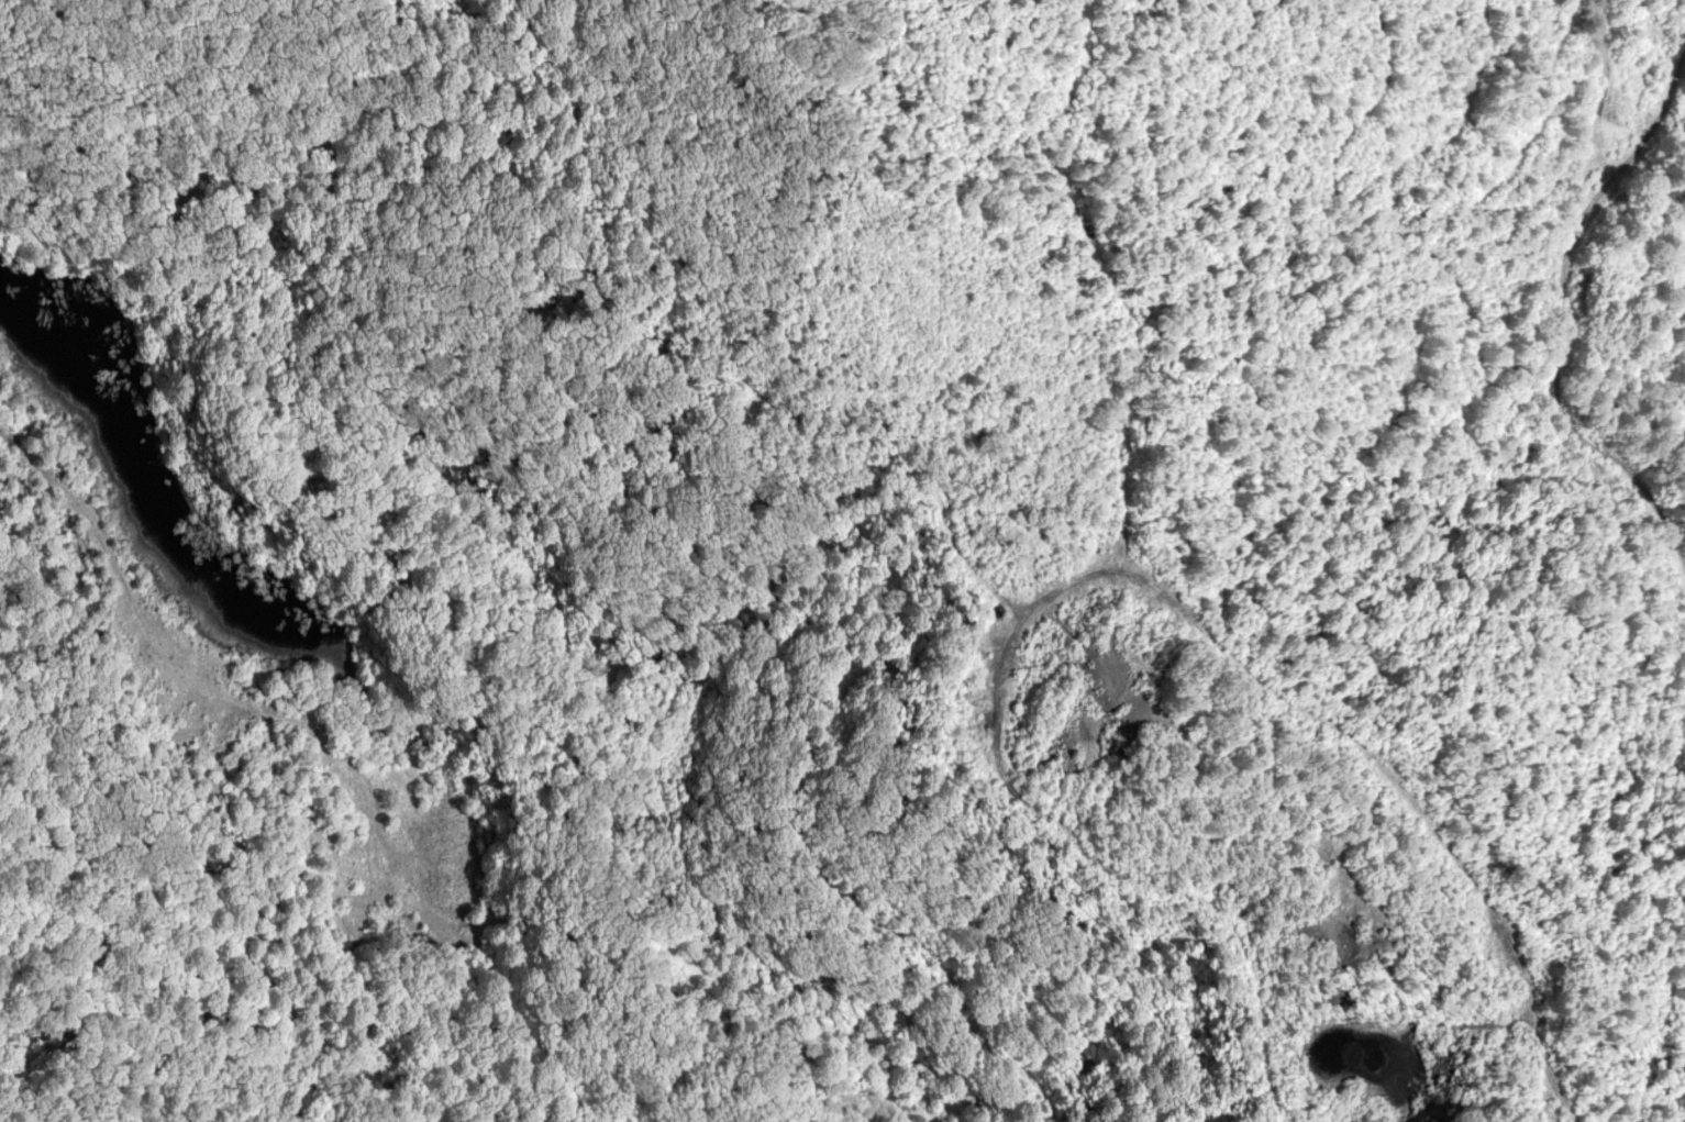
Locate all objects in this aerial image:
road: (1566, 344)
road: (1101, 577)
road: (339, 763)

